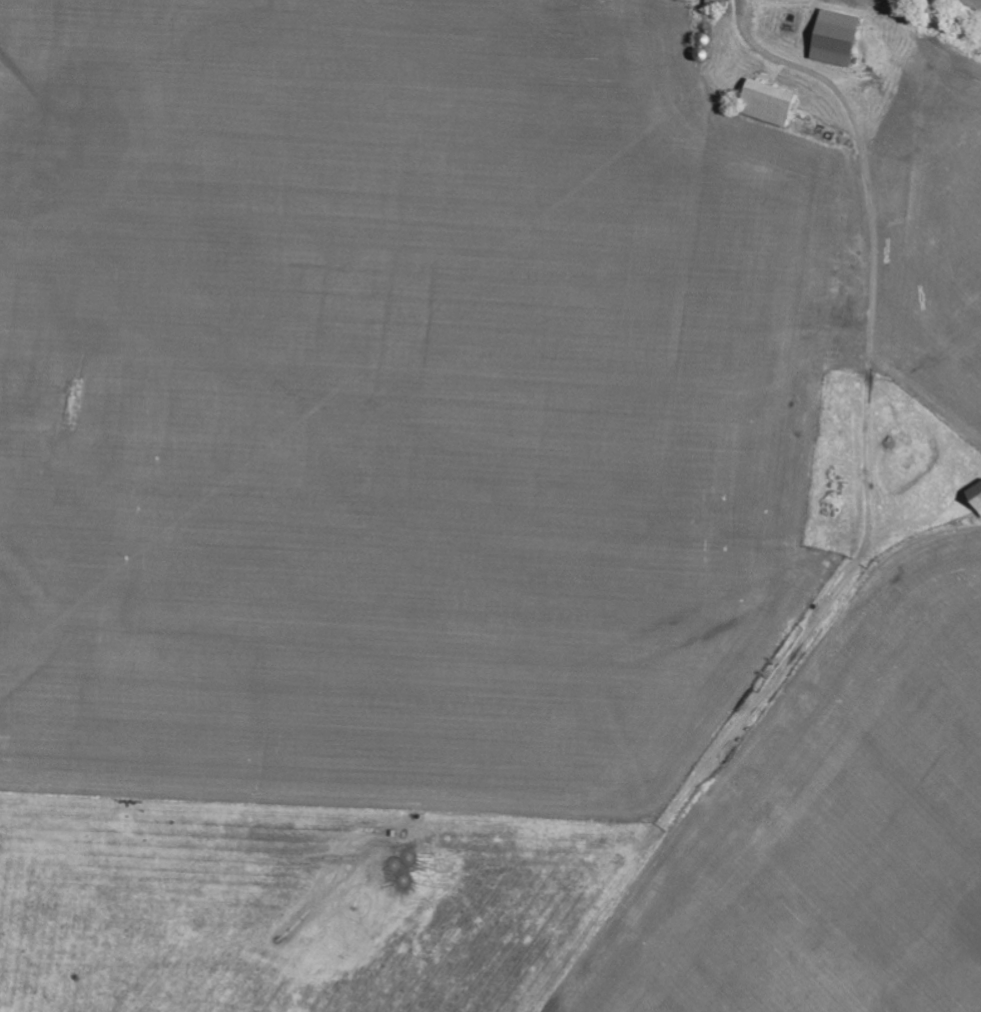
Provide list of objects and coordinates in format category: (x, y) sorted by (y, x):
building: (844, 40)
building: (775, 104)
building: (977, 495)

